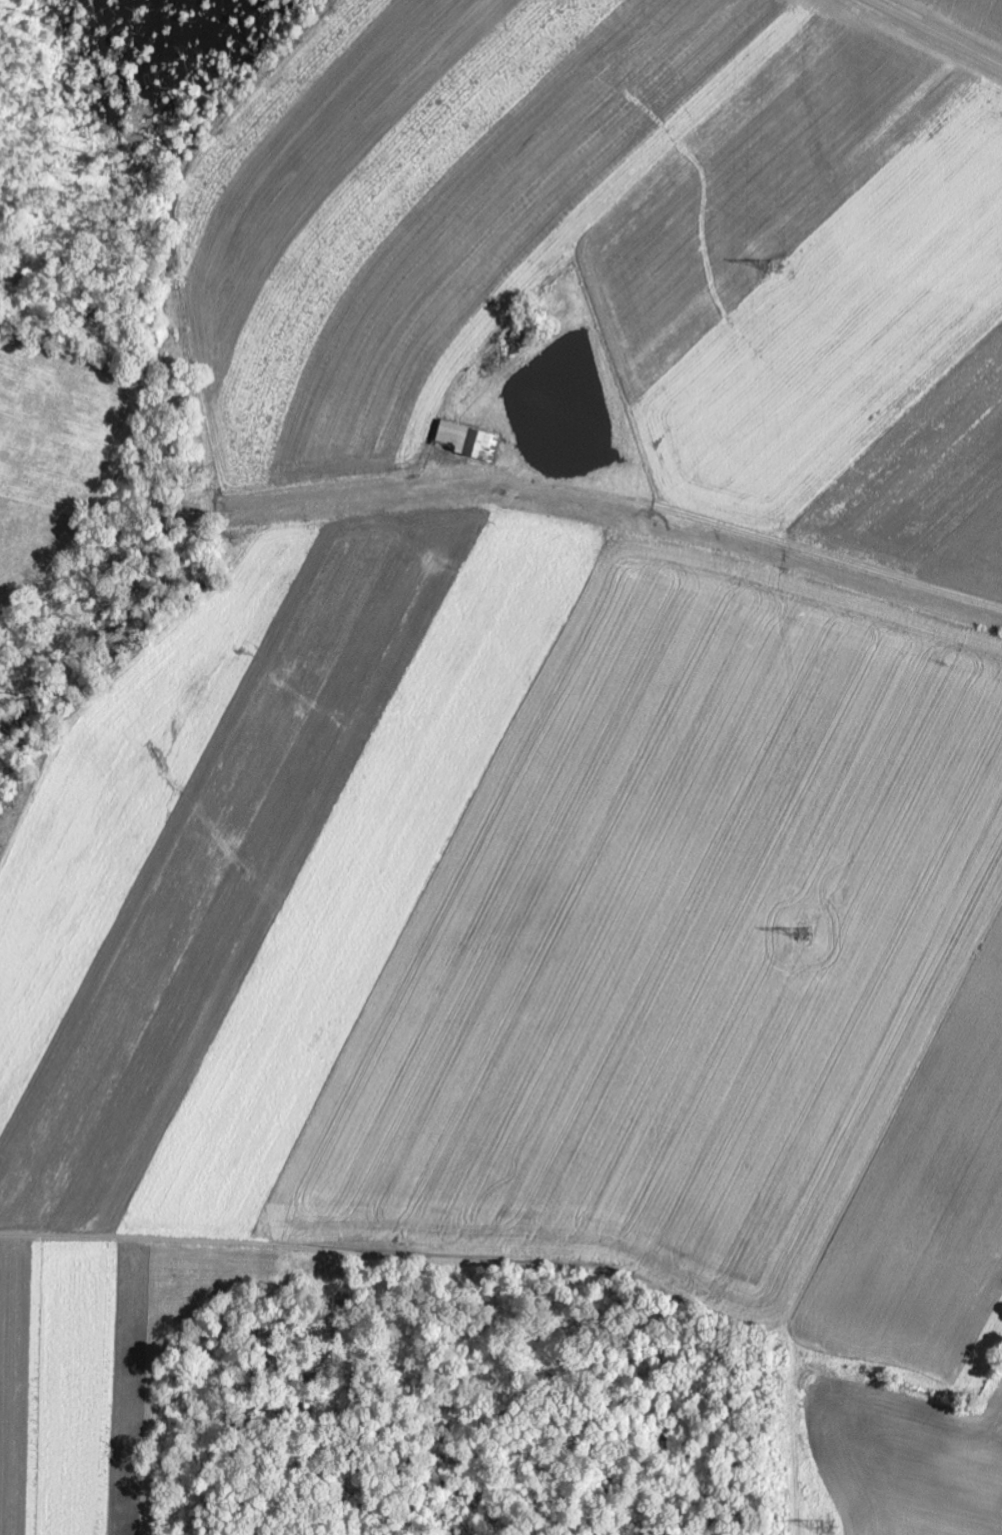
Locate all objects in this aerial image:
power tower: (778, 269)
building: (466, 440)
power tower: (801, 937)
power tower: (821, 1531)

